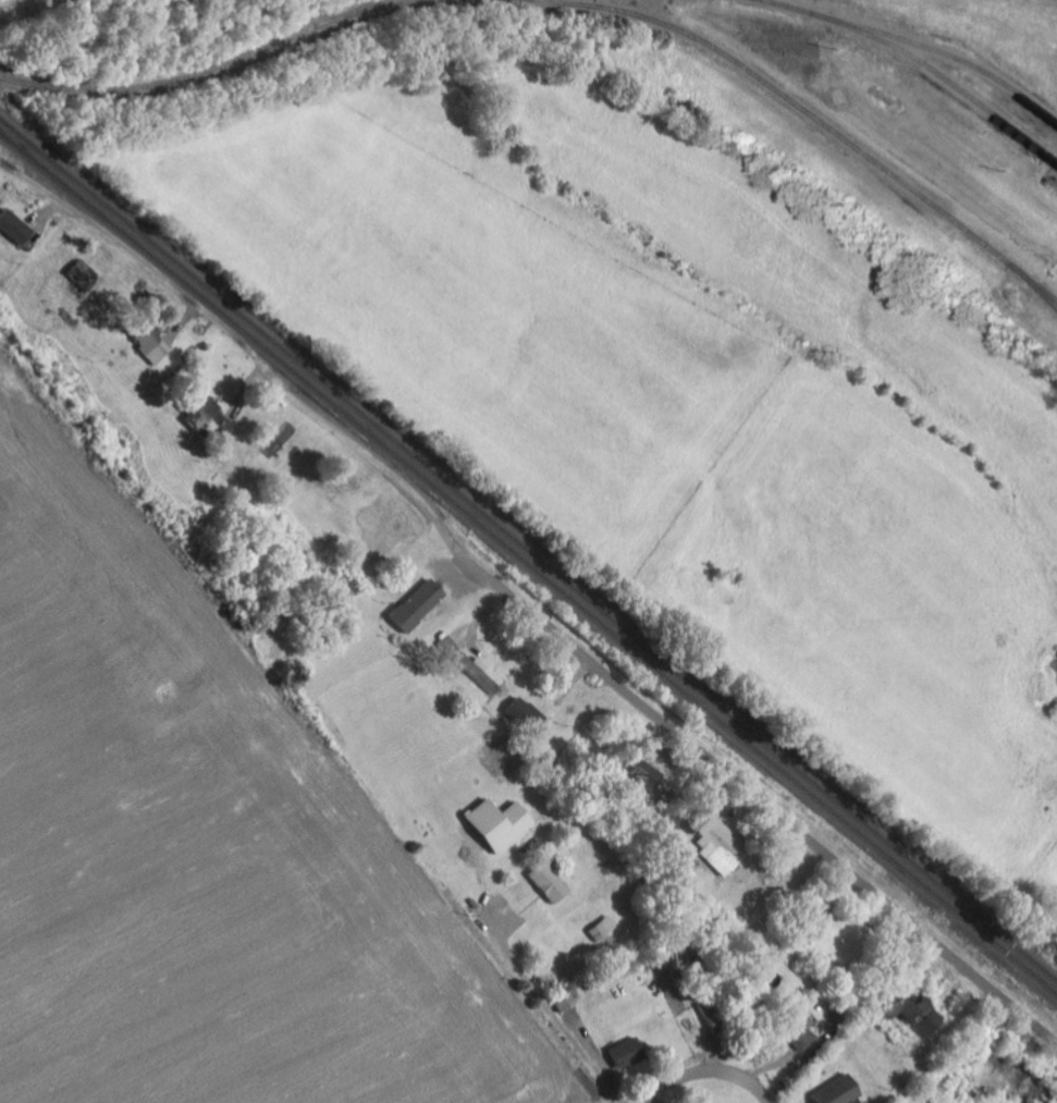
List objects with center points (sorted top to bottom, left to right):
railway: (347, 13)
railway: (217, 68)
railway: (927, 69)
railway: (798, 108)
building: (14, 229)
railway: (1032, 281)
building: (153, 346)
building: (210, 421)
railway: (528, 550)
railway: (528, 565)
building: (419, 608)
road: (520, 608)
building: (478, 673)
building: (643, 773)
building: (501, 825)
building: (717, 845)
building: (550, 884)
building: (918, 1016)
building: (802, 1034)
building: (627, 1054)
road: (698, 1074)
building: (839, 1092)

